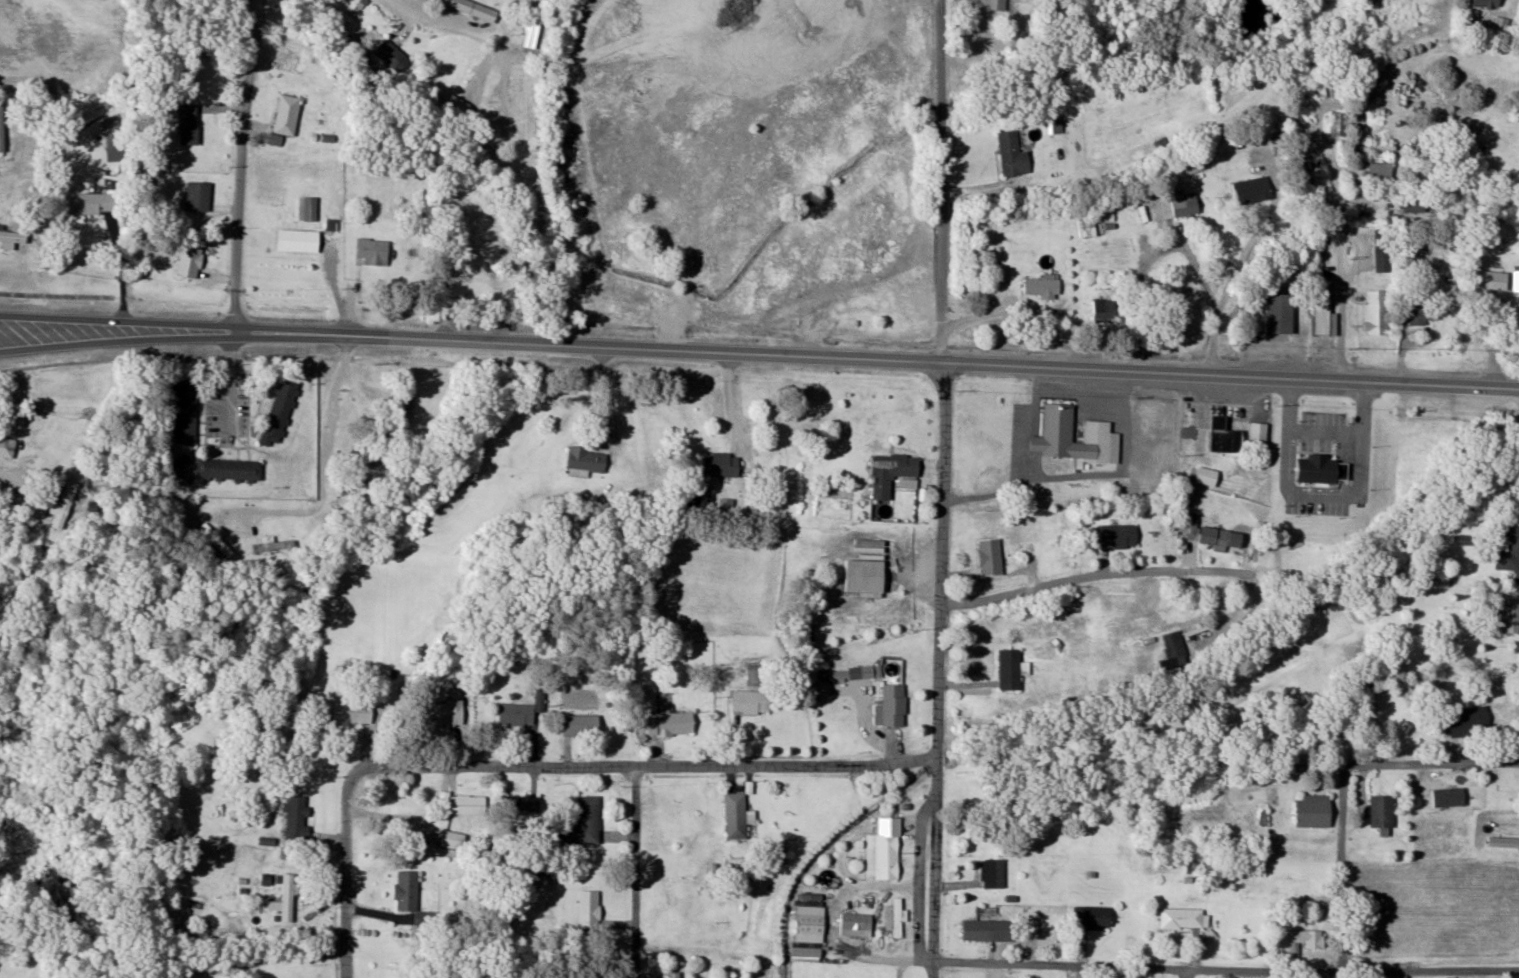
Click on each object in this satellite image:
building: (1489, 4)
building: (998, 5)
building: (473, 8)
building: (1474, 29)
building: (388, 52)
building: (457, 109)
building: (288, 115)
building: (189, 125)
building: (1339, 125)
building: (1055, 128)
building: (2, 129)
building: (115, 140)
building: (1013, 155)
road: (242, 162)
building: (1381, 173)
building: (1254, 191)
building: (198, 197)
building: (95, 204)
building: (1179, 205)
building: (1410, 205)
building: (308, 210)
road: (1255, 233)
building: (12, 238)
building: (299, 242)
road: (1173, 251)
building: (1383, 251)
building: (373, 252)
building: (482, 255)
building: (190, 260)
building: (1516, 279)
building: (1490, 282)
building: (1043, 289)
road: (1341, 297)
building: (1323, 309)
building: (1104, 312)
road: (99, 313)
building: (1376, 313)
building: (1424, 313)
building: (1280, 314)
road: (99, 335)
road: (575, 340)
road: (1235, 368)
building: (408, 399)
building: (186, 411)
building: (280, 411)
building: (1059, 427)
building: (1260, 434)
building: (1226, 435)
building: (7, 445)
building: (361, 458)
building: (587, 460)
building: (721, 464)
building: (1323, 468)
building: (229, 469)
building: (894, 472)
building: (1207, 476)
road: (941, 489)
building: (352, 495)
building: (64, 505)
building: (1120, 535)
building: (1216, 537)
building: (217, 540)
building: (274, 545)
building: (1509, 552)
building: (991, 556)
building: (867, 567)
road: (1093, 577)
building: (1510, 616)
building: (1174, 649)
building: (1010, 669)
building: (753, 675)
building: (751, 701)
building: (893, 705)
building: (522, 711)
building: (353, 712)
building: (447, 712)
building: (665, 717)
building: (1470, 721)
building: (582, 724)
road: (540, 765)
road: (1434, 765)
building: (1450, 792)
building: (468, 804)
building: (525, 805)
building: (1315, 811)
building: (1383, 811)
building: (897, 813)
building: (736, 816)
building: (296, 817)
building: (586, 822)
building: (452, 840)
building: (883, 857)
road: (1342, 867)
road: (634, 871)
building: (993, 874)
building: (289, 896)
building: (411, 897)
building: (589, 909)
building: (1092, 918)
building: (1182, 918)
building: (895, 920)
building: (810, 924)
building: (856, 925)
building: (981, 930)
building: (1310, 938)
road: (1224, 969)

